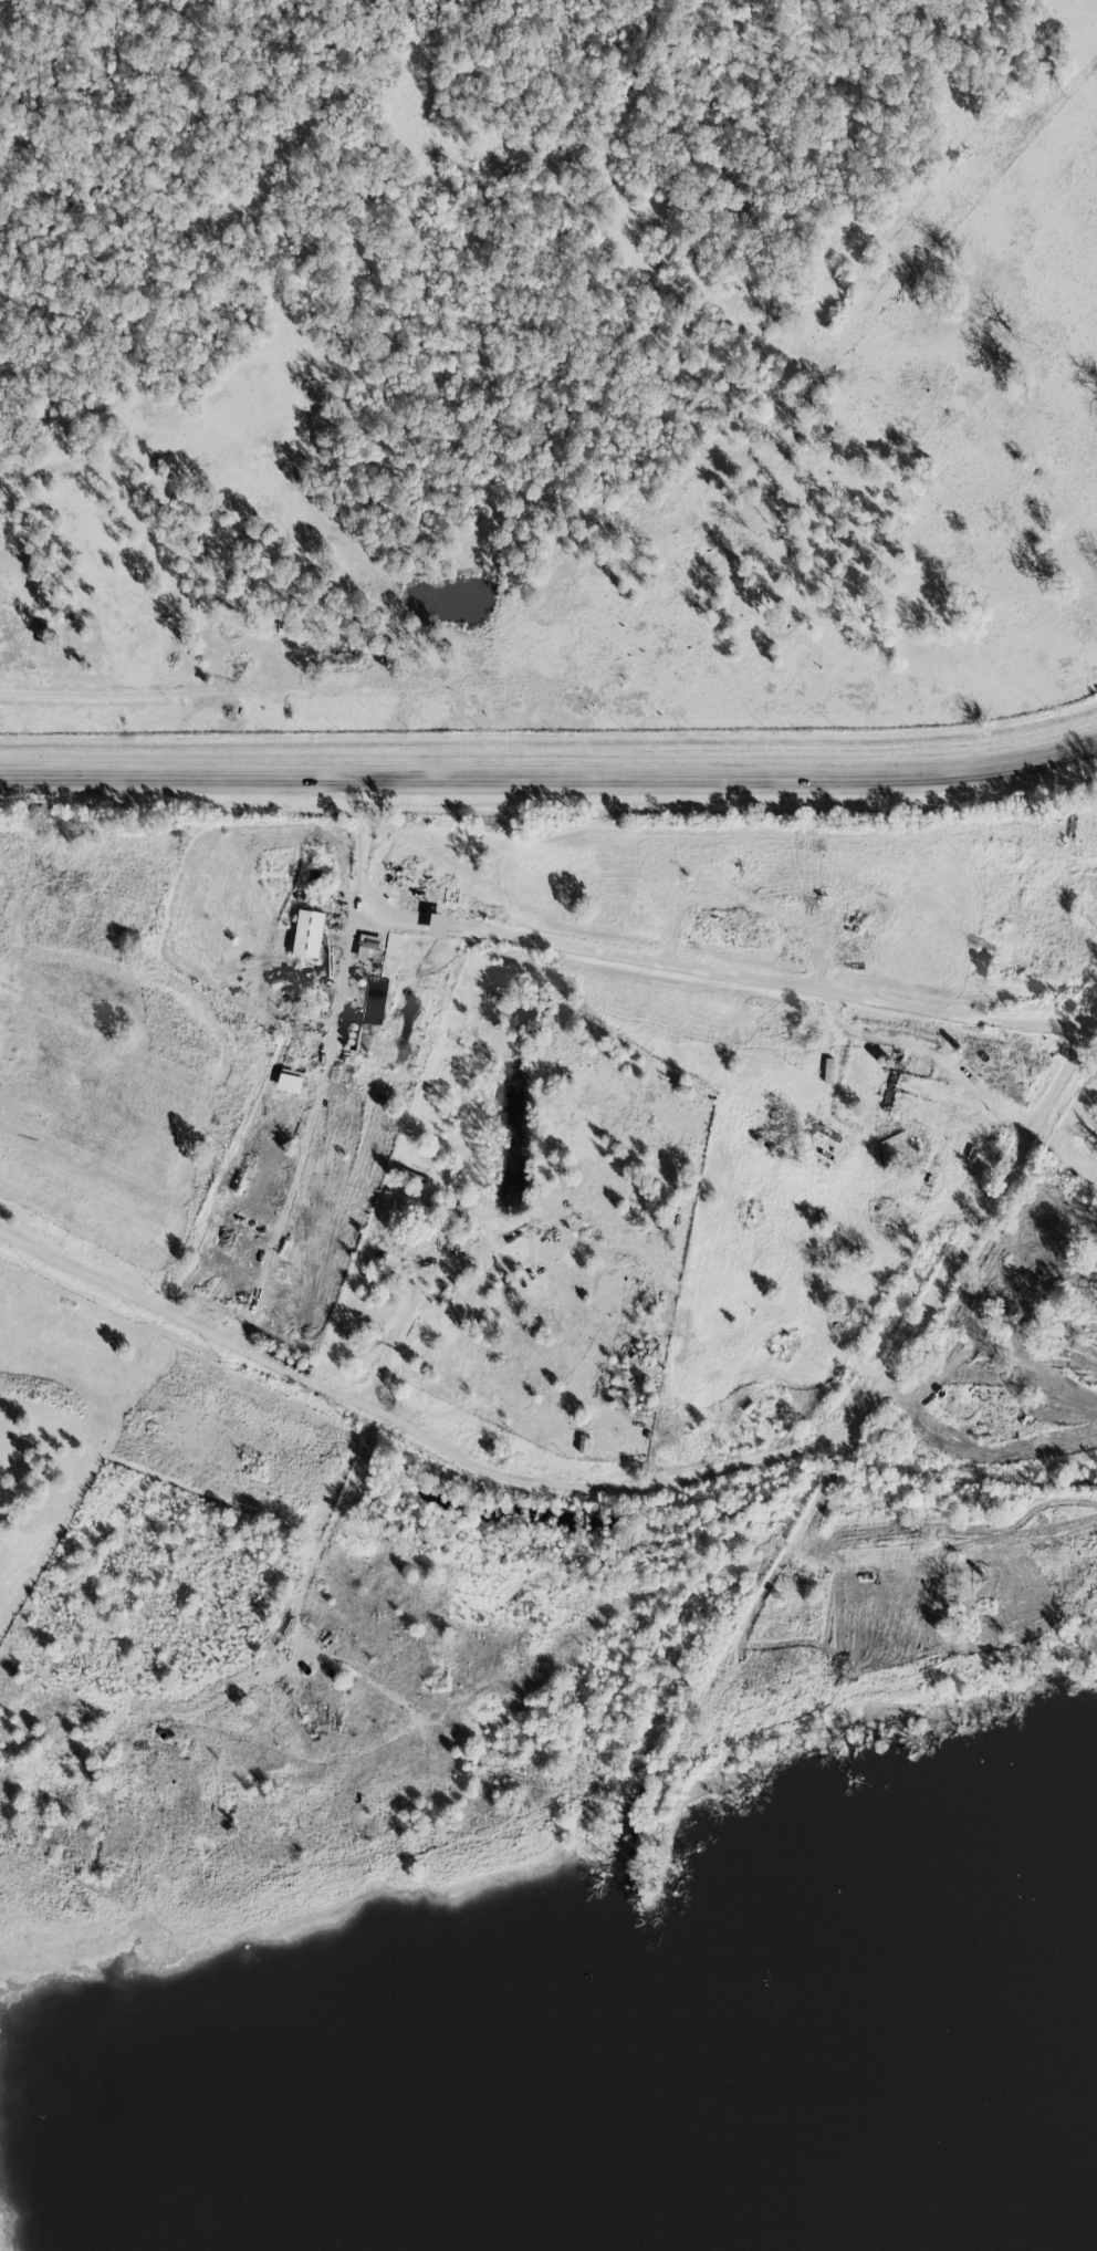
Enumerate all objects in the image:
road: (550, 777)
road: (15, 921)
building: (438, 926)
building: (307, 934)
building: (366, 947)
road: (324, 1063)
building: (289, 1081)
road: (1063, 1151)
road: (633, 1481)

